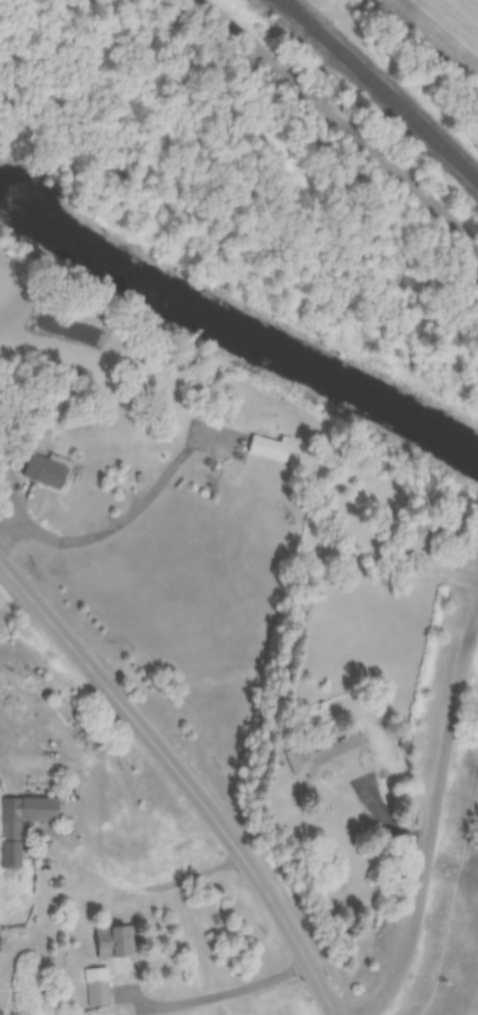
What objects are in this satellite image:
railway: (380, 90)
road: (344, 120)
river: (240, 331)
building: (273, 447)
building: (46, 471)
road: (132, 508)
building: (416, 535)
road: (414, 540)
building: (330, 757)
road: (182, 776)
road: (431, 817)
building: (11, 833)
road: (82, 852)
building: (118, 942)
road: (216, 992)
building: (99, 994)

